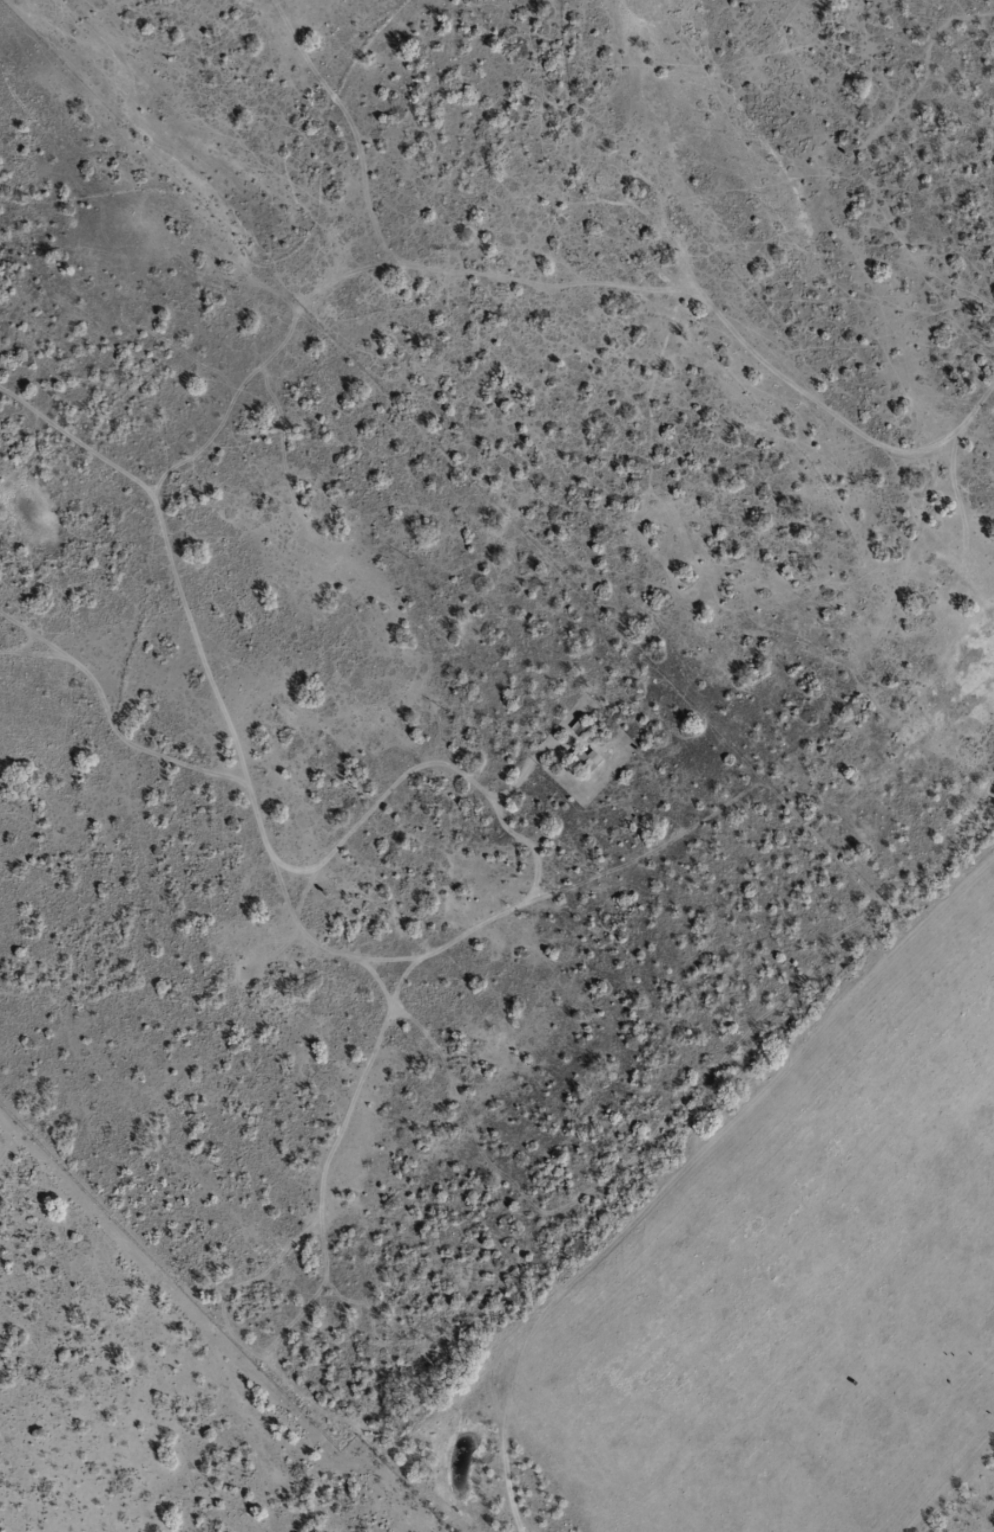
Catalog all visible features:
building: (584, 758)
crop: (799, 1285)

